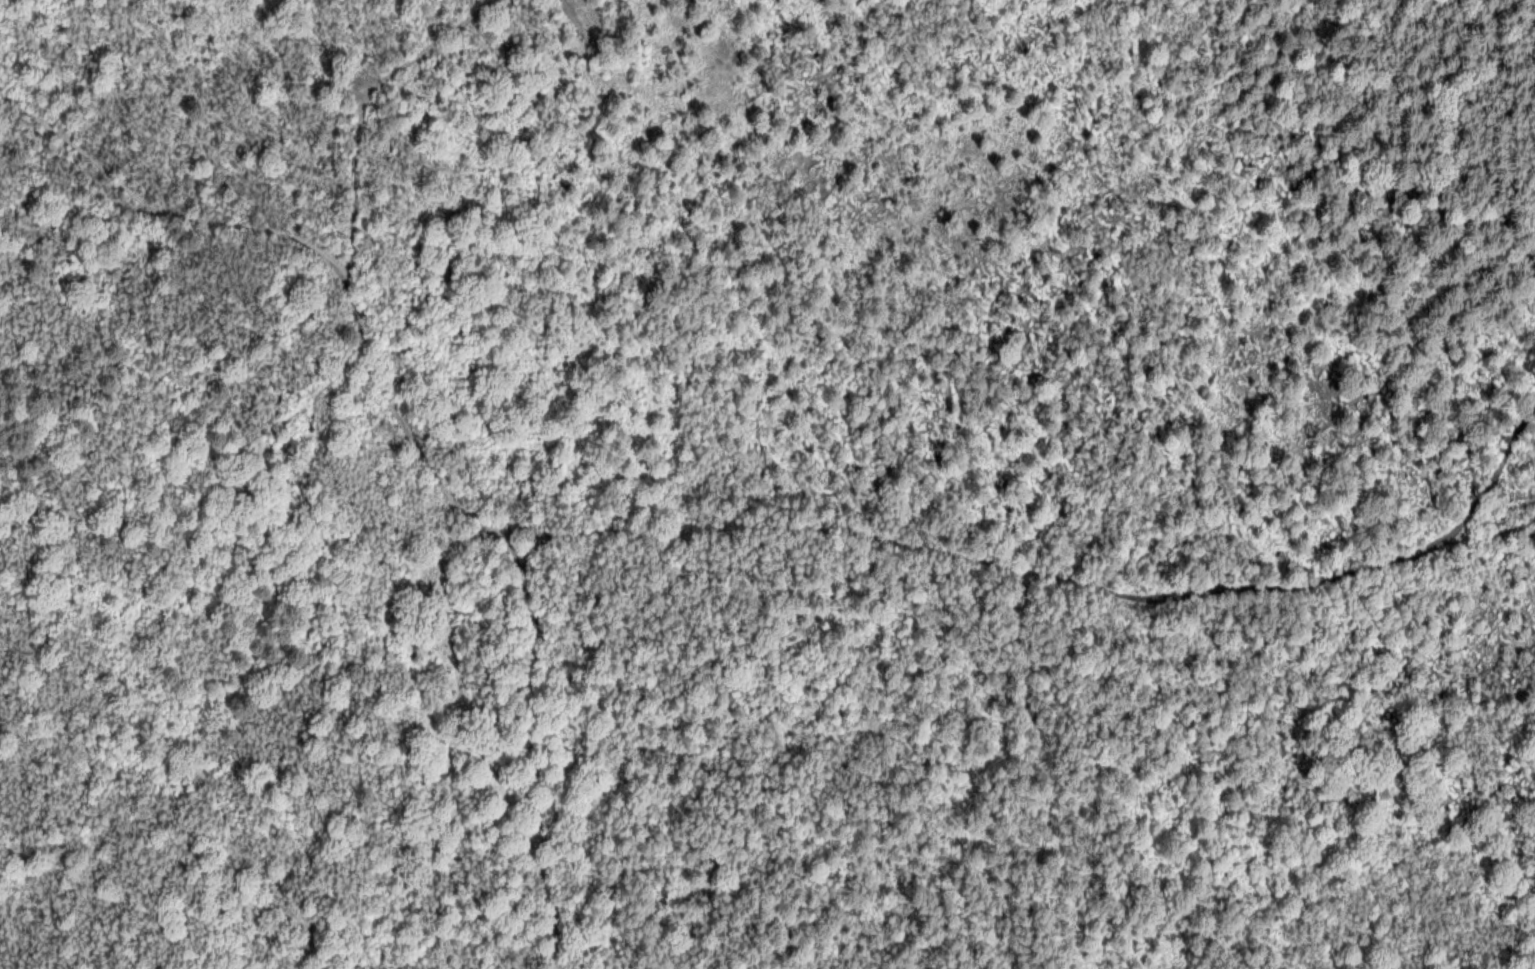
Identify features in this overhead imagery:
road: (325, 254)
road: (536, 765)

